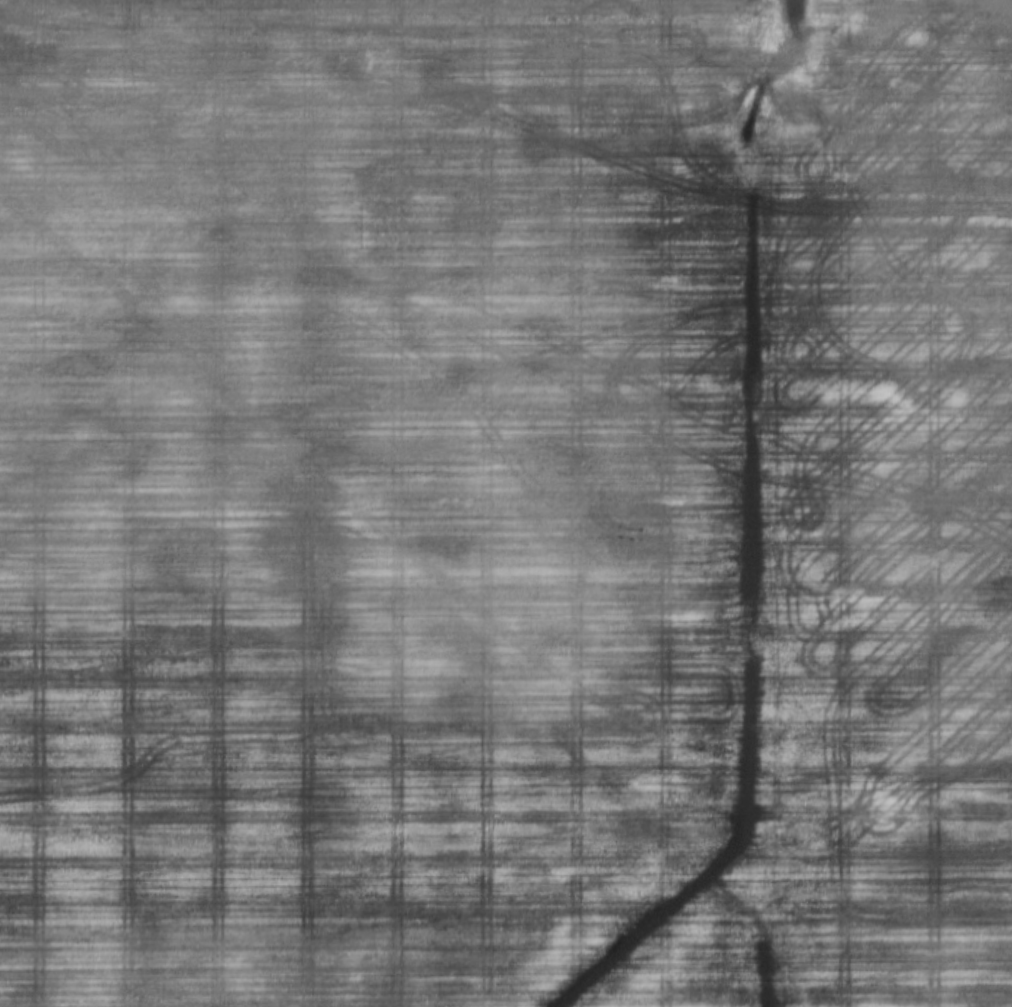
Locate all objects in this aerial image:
crop: (506, 503)

